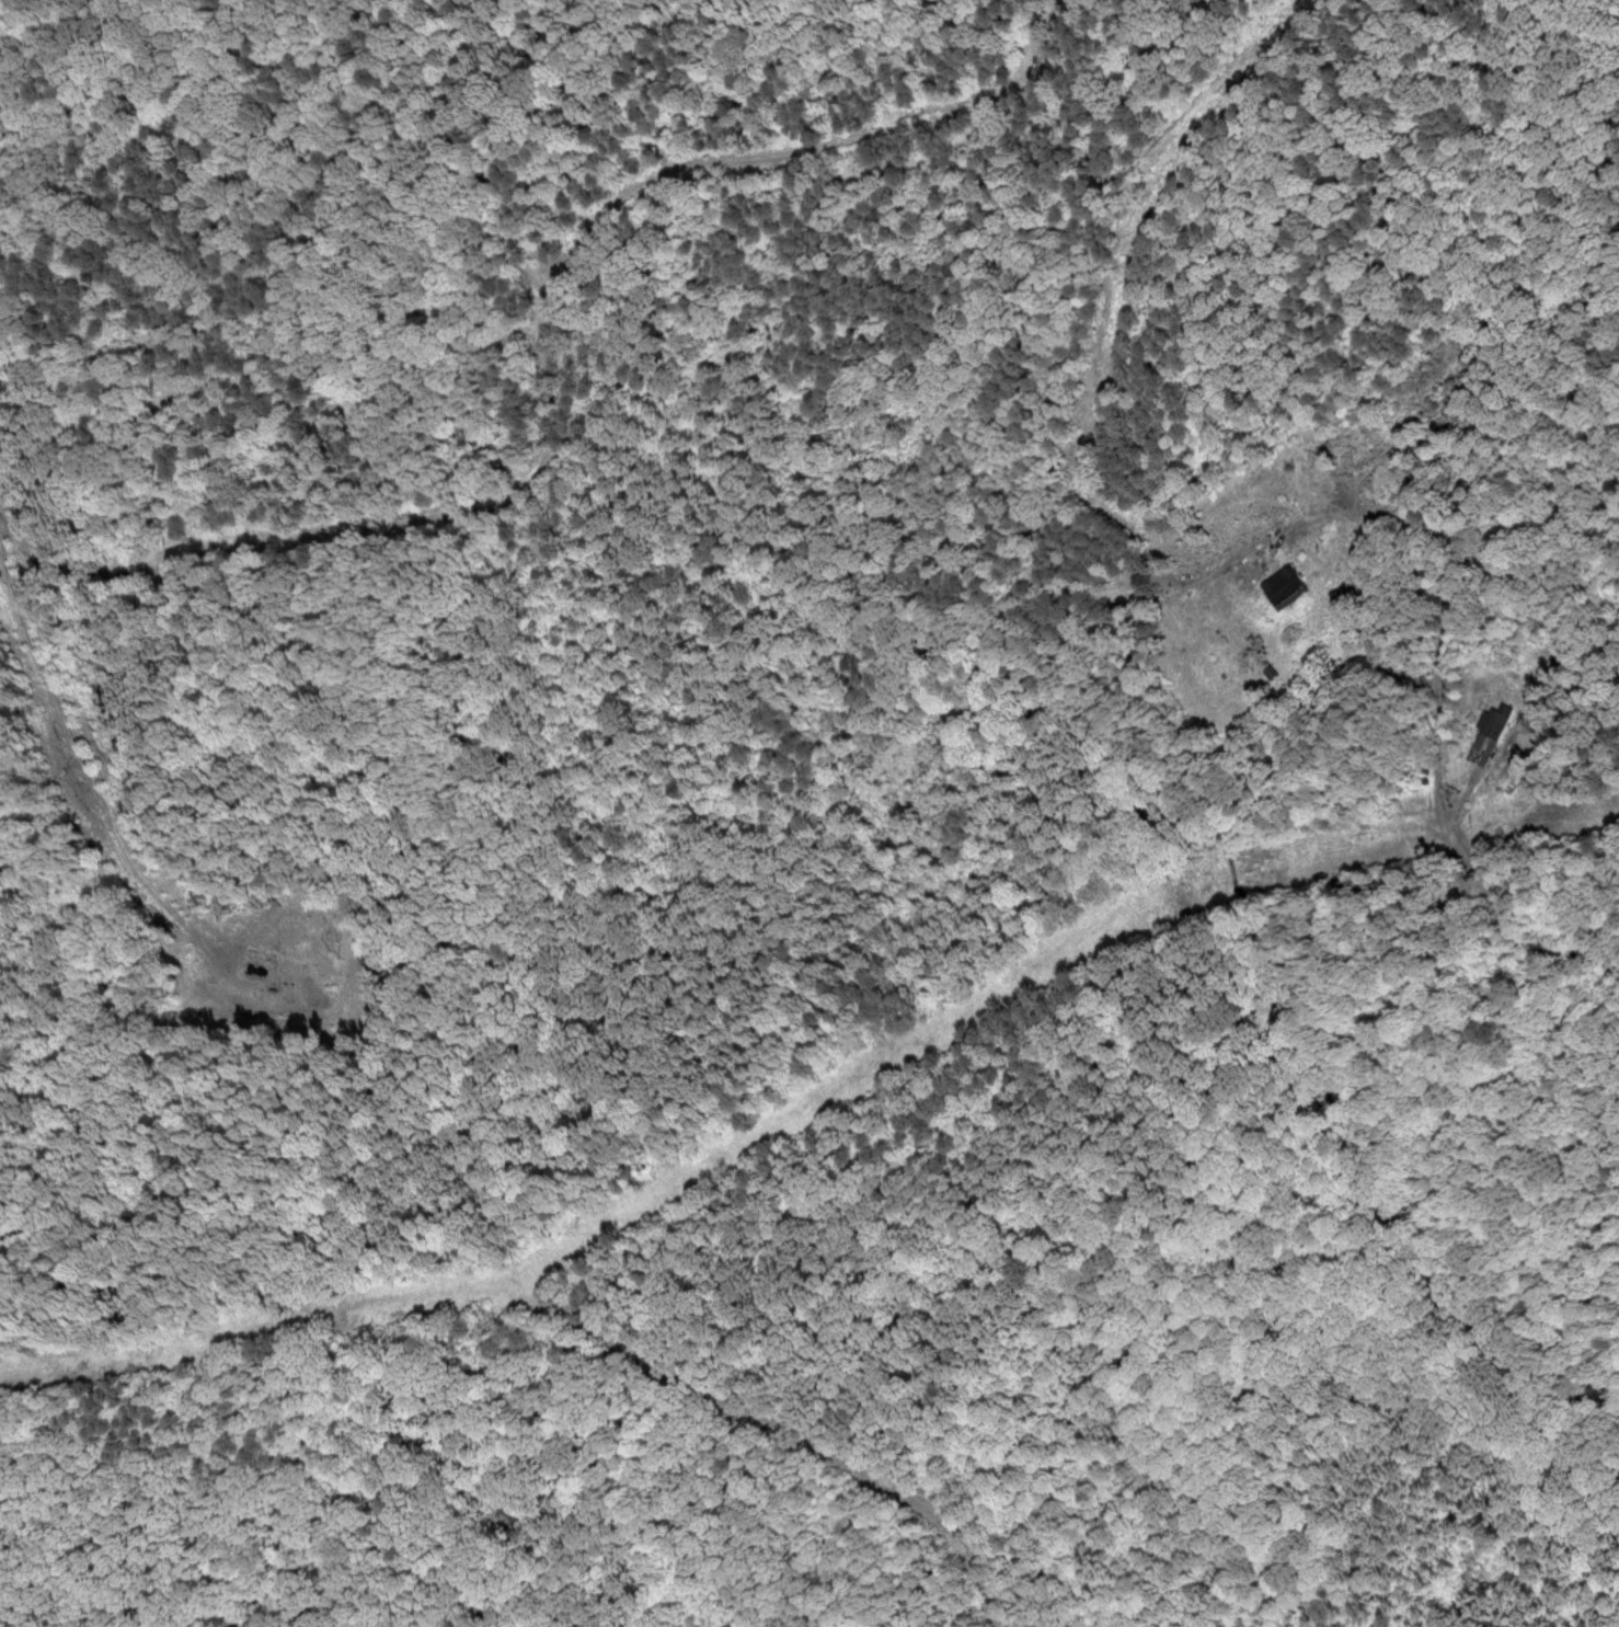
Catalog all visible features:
road: (505, 280)
building: (1284, 586)
building: (1489, 733)

